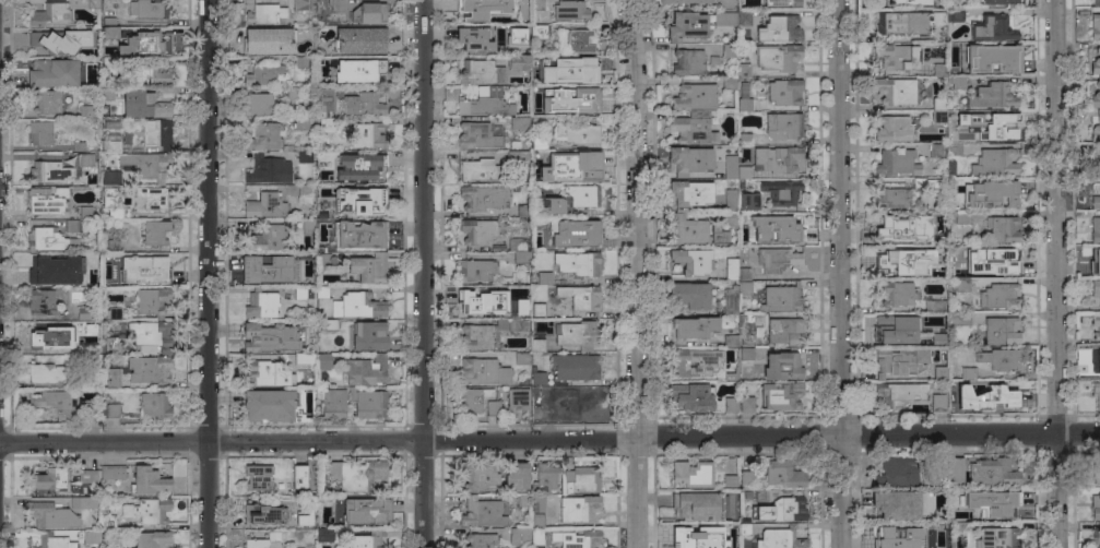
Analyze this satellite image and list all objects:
building: (684, 1)
building: (1001, 1)
building: (912, 2)
building: (1097, 2)
building: (782, 3)
building: (299, 4)
building: (537, 4)
building: (728, 4)
building: (94, 5)
building: (336, 5)
building: (149, 9)
building: (481, 9)
building: (522, 9)
building: (570, 11)
building: (263, 12)
building: (50, 13)
building: (368, 13)
building: (955, 14)
building: (744, 15)
building: (725, 17)
building: (108, 21)
building: (902, 23)
building: (687, 25)
building: (941, 25)
building: (1095, 26)
building: (781, 28)
building: (991, 28)
building: (110, 32)
building: (539, 32)
building: (81, 33)
building: (517, 37)
building: (473, 39)
building: (269, 40)
building: (360, 40)
building: (575, 40)
building: (146, 44)
building: (45, 45)
building: (729, 50)
building: (777, 56)
building: (897, 56)
building: (991, 59)
building: (712, 60)
building: (300, 62)
building: (517, 62)
building: (687, 62)
building: (1096, 62)
building: (109, 67)
building: (580, 68)
building: (358, 69)
building: (938, 69)
building: (744, 70)
building: (557, 71)
building: (481, 72)
building: (52, 73)
building: (151, 74)
building: (263, 74)
building: (541, 76)
building: (956, 82)
building: (730, 83)
building: (1097, 83)
building: (895, 91)
building: (785, 92)
building: (293, 93)
building: (106, 94)
building: (694, 96)
building: (992, 96)
building: (327, 99)
building: (1095, 99)
building: (46, 100)
building: (568, 102)
building: (365, 103)
building: (938, 103)
building: (258, 104)
building: (143, 105)
building: (480, 105)
building: (745, 105)
building: (507, 108)
building: (84, 111)
building: (938, 116)
building: (960, 117)
building: (518, 122)
building: (301, 123)
building: (327, 124)
building: (783, 126)
building: (997, 128)
building: (894, 129)
building: (693, 130)
building: (1096, 131)
building: (39, 132)
building: (156, 133)
building: (578, 133)
building: (265, 135)
building: (366, 135)
building: (478, 135)
building: (745, 139)
building: (540, 141)
building: (109, 145)
building: (79, 146)
building: (935, 151)
building: (954, 151)
building: (303, 156)
building: (327, 156)
building: (518, 156)
building: (1096, 156)
building: (777, 158)
building: (85, 159)
building: (688, 159)
building: (575, 162)
building: (897, 163)
building: (994, 163)
building: (145, 165)
building: (730, 166)
building: (951, 167)
building: (268, 168)
building: (474, 168)
building: (365, 169)
building: (49, 171)
building: (743, 171)
building: (540, 176)
building: (109, 178)
building: (919, 182)
building: (304, 190)
building: (781, 190)
building: (689, 192)
building: (322, 193)
building: (582, 194)
building: (990, 194)
building: (892, 196)
building: (151, 199)
building: (482, 199)
building: (46, 200)
building: (731, 200)
building: (748, 201)
building: (1096, 202)
building: (114, 203)
building: (364, 203)
building: (265, 205)
building: (551, 205)
building: (523, 210)
building: (87, 212)
building: (961, 217)
building: (927, 218)
building: (939, 218)
building: (731, 219)
building: (307, 225)
building: (73, 226)
building: (776, 229)
building: (899, 229)
building: (1002, 229)
building: (1095, 229)
building: (688, 231)
building: (155, 233)
building: (475, 233)
building: (359, 234)
building: (573, 234)
building: (718, 235)
building: (267, 238)
building: (46, 239)
building: (518, 243)
building: (114, 246)
building: (499, 247)
building: (962, 250)
building: (520, 258)
building: (301, 259)
building: (324, 260)
building: (777, 260)
building: (1095, 260)
building: (691, 261)
building: (1004, 261)
building: (895, 262)
building: (578, 263)
building: (46, 266)
building: (369, 267)
building: (732, 269)
building: (107, 270)
building: (142, 270)
building: (476, 271)
building: (938, 271)
building: (261, 273)
road: (639, 273)
building: (744, 273)
road: (1055, 273)
road: (206, 274)
road: (423, 274)
road: (837, 274)
building: (544, 278)
building: (83, 279)
building: (506, 279)
building: (961, 285)
building: (745, 288)
building: (1096, 288)
building: (516, 290)
building: (321, 291)
building: (299, 294)
building: (690, 295)
building: (898, 295)
building: (576, 297)
building: (1000, 297)
building: (781, 298)
building: (44, 301)
building: (152, 301)
building: (731, 301)
building: (477, 303)
building: (261, 305)
building: (356, 306)
building: (934, 306)
building: (539, 310)
building: (115, 312)
building: (85, 314)
building: (960, 319)
building: (332, 323)
building: (518, 324)
building: (1096, 325)
building: (694, 327)
building: (745, 329)
building: (896, 329)
building: (1002, 330)
building: (784, 331)
building: (758, 332)
building: (45, 335)
building: (149, 335)
building: (370, 335)
building: (578, 335)
building: (270, 337)
building: (477, 337)
building: (938, 339)
building: (730, 341)
building: (87, 344)
building: (537, 345)
building: (113, 348)
building: (746, 355)
building: (306, 358)
building: (522, 358)
building: (1000, 358)
building: (324, 360)
building: (1096, 360)
building: (900, 361)
building: (694, 362)
building: (782, 366)
building: (575, 367)
building: (149, 369)
building: (365, 370)
building: (482, 371)
building: (939, 372)
building: (45, 373)
building: (267, 373)
building: (968, 373)
building: (731, 374)
building: (539, 378)
building: (87, 380)
building: (113, 381)
building: (900, 393)
building: (1097, 393)
building: (781, 395)
building: (998, 395)
building: (963, 396)
building: (690, 397)
building: (473, 398)
building: (517, 400)
building: (331, 402)
building: (938, 402)
building: (54, 403)
building: (367, 403)
building: (584, 403)
building: (261, 404)
building: (731, 404)
building: (746, 404)
building: (956, 404)
building: (154, 405)
building: (493, 407)
building: (91, 410)
building: (113, 410)
building: (301, 410)
building: (551, 410)
road: (1078, 434)
road: (740, 437)
road: (212, 442)
building: (939, 464)
building: (956, 470)
building: (114, 472)
building: (1096, 472)
building: (898, 473)
building: (993, 473)
building: (784, 474)
building: (477, 475)
building: (691, 475)
building: (86, 476)
building: (298, 476)
building: (356, 476)
building: (258, 477)
building: (747, 477)
building: (516, 478)
building: (545, 478)
building: (47, 479)
building: (582, 479)
building: (147, 480)
building: (730, 480)
building: (945, 480)
building: (761, 495)
building: (523, 500)
building: (84, 502)
building: (992, 502)
building: (539, 503)
building: (896, 504)
building: (695, 505)
building: (1096, 505)
building: (579, 508)
building: (789, 509)
building: (151, 511)
building: (365, 511)
building: (482, 513)
building: (261, 514)
building: (52, 515)
building: (300, 521)
building: (537, 521)
building: (108, 522)
building: (957, 525)
building: (744, 527)
building: (731, 529)
building: (106, 534)
building: (323, 535)
building: (897, 535)
building: (91, 536)
building: (520, 536)
building: (537, 536)
building: (693, 537)
building: (997, 537)
building: (780, 538)
building: (152, 539)
building: (368, 539)
building: (576, 539)
building: (1097, 539)
building: (54, 540)
building: (264, 540)
building: (481, 540)
building: (938, 545)
building: (537, 547)

